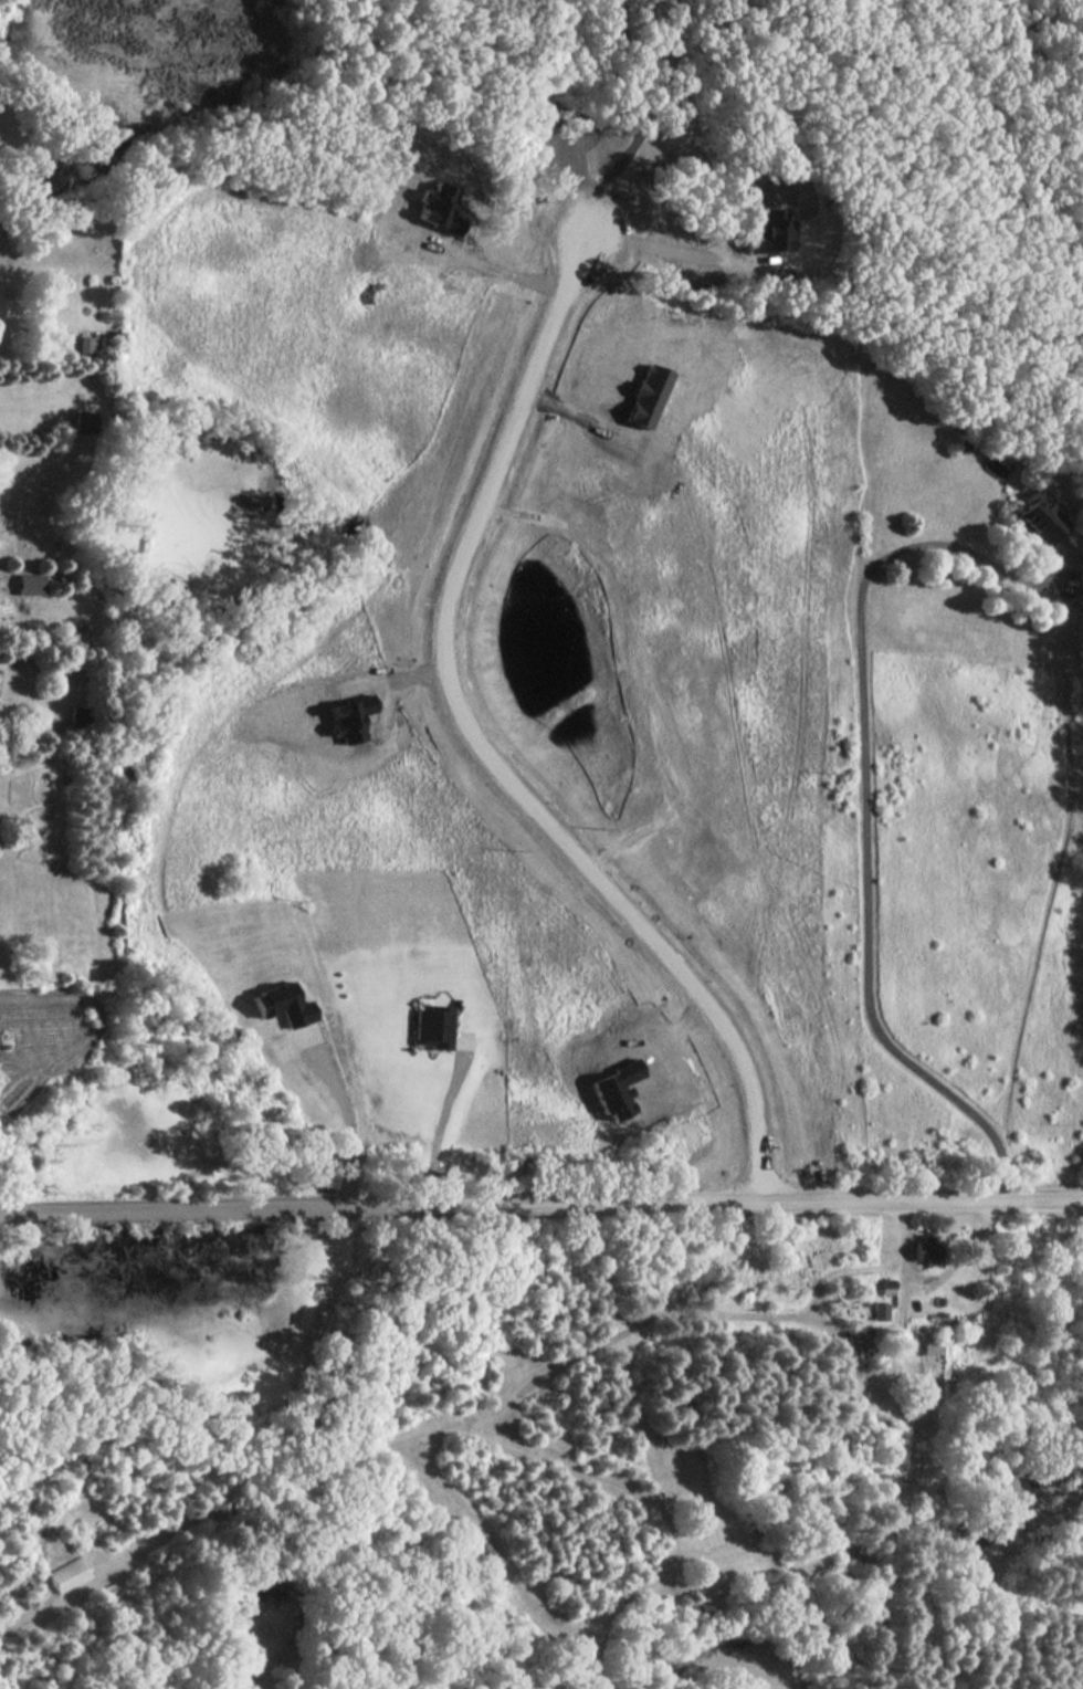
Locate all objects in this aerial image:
building: (437, 208)
building: (770, 232)
road: (646, 246)
building: (84, 344)
building: (646, 396)
building: (1041, 517)
building: (31, 584)
building: (349, 717)
road: (482, 751)
road: (863, 801)
building: (282, 1004)
building: (432, 1027)
building: (616, 1089)
road: (344, 1120)
road: (443, 1126)
road: (541, 1208)
building: (926, 1249)
road: (933, 1278)
building: (887, 1288)
building: (881, 1312)
building: (859, 1337)
building: (933, 1346)
road: (387, 1441)
building: (885, 1479)
building: (809, 1553)
building: (484, 1554)
building: (70, 1574)
building: (555, 1576)
road: (630, 1595)
building: (706, 1609)

